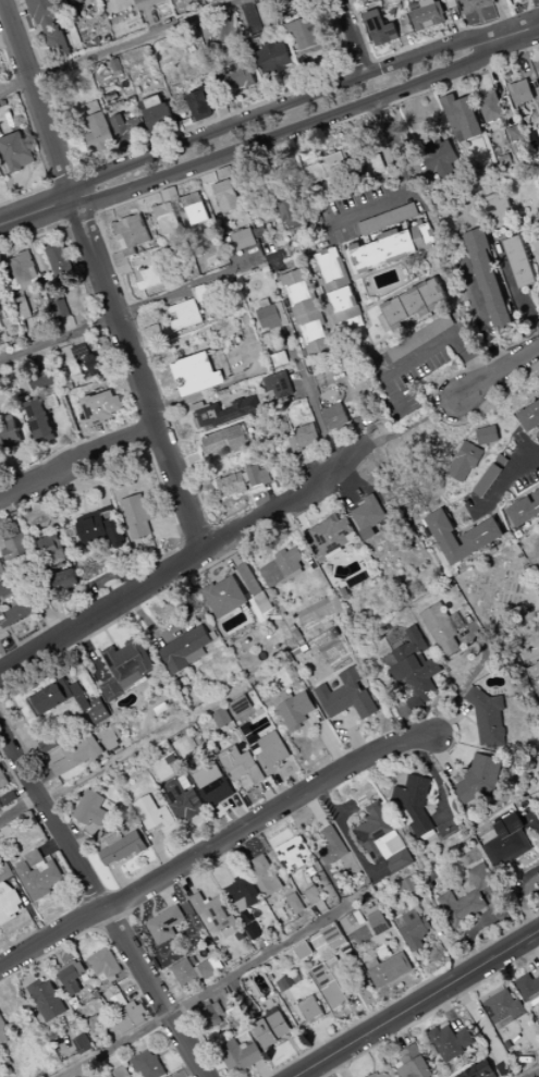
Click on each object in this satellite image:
road: (340, 0)
building: (495, 1)
building: (150, 3)
building: (476, 5)
building: (395, 9)
road: (17, 11)
road: (530, 13)
building: (430, 16)
road: (505, 16)
road: (252, 19)
road: (481, 19)
road: (154, 23)
building: (49, 24)
road: (355, 24)
road: (455, 26)
road: (226, 29)
building: (382, 29)
road: (457, 30)
road: (517, 32)
building: (305, 34)
road: (29, 35)
road: (352, 36)
road: (30, 39)
road: (7, 40)
building: (259, 41)
road: (127, 48)
road: (396, 52)
building: (273, 59)
building: (317, 59)
building: (117, 65)
road: (526, 66)
road: (512, 70)
building: (235, 72)
building: (538, 75)
road: (497, 81)
road: (283, 84)
road: (456, 84)
road: (480, 84)
building: (520, 93)
road: (36, 98)
road: (247, 98)
building: (154, 102)
building: (203, 103)
road: (279, 106)
building: (491, 107)
building: (538, 107)
building: (94, 108)
road: (250, 108)
building: (463, 117)
building: (158, 118)
road: (405, 122)
building: (121, 125)
building: (136, 127)
road: (388, 127)
building: (100, 132)
road: (290, 132)
building: (516, 133)
road: (161, 142)
road: (270, 148)
building: (16, 151)
building: (439, 158)
road: (44, 161)
road: (387, 161)
building: (331, 162)
building: (372, 167)
building: (226, 173)
road: (179, 189)
building: (171, 195)
road: (162, 196)
building: (229, 196)
building: (193, 199)
road: (382, 205)
road: (56, 206)
building: (164, 209)
building: (497, 209)
road: (36, 211)
road: (117, 213)
building: (198, 213)
building: (294, 213)
road: (96, 215)
road: (78, 220)
building: (388, 220)
road: (41, 222)
building: (170, 223)
road: (14, 232)
building: (261, 232)
building: (133, 233)
road: (30, 237)
building: (244, 238)
road: (48, 240)
building: (233, 241)
road: (120, 246)
road: (20, 247)
building: (51, 247)
building: (384, 250)
building: (535, 253)
building: (522, 260)
building: (61, 261)
building: (122, 262)
road: (430, 265)
building: (24, 267)
building: (330, 270)
building: (140, 276)
building: (150, 278)
building: (489, 278)
building: (35, 282)
building: (0, 285)
building: (13, 285)
building: (26, 285)
road: (514, 285)
building: (0, 287)
building: (200, 293)
building: (433, 293)
building: (1, 295)
building: (416, 303)
building: (343, 305)
road: (142, 306)
building: (23, 308)
building: (62, 309)
building: (307, 311)
road: (483, 311)
building: (186, 315)
building: (269, 316)
building: (394, 316)
road: (150, 326)
building: (0, 327)
road: (519, 332)
building: (421, 338)
road: (345, 341)
road: (3, 351)
road: (426, 352)
road: (376, 353)
building: (91, 360)
road: (497, 371)
road: (137, 374)
building: (199, 375)
building: (46, 380)
road: (230, 382)
building: (280, 384)
road: (310, 399)
building: (102, 407)
road: (437, 412)
building: (226, 413)
road: (182, 415)
building: (336, 417)
building: (529, 417)
building: (40, 419)
road: (171, 424)
building: (359, 424)
road: (414, 424)
building: (283, 425)
building: (9, 430)
building: (307, 435)
building: (538, 435)
road: (102, 436)
building: (488, 436)
road: (68, 438)
building: (229, 441)
road: (198, 445)
building: (296, 445)
road: (50, 456)
road: (76, 456)
road: (12, 458)
building: (502, 461)
building: (464, 462)
road: (187, 465)
road: (308, 469)
building: (258, 476)
building: (485, 480)
road: (502, 481)
road: (84, 485)
building: (232, 485)
road: (350, 486)
road: (1, 488)
road: (84, 499)
road: (267, 501)
road: (322, 501)
road: (5, 506)
building: (524, 511)
building: (369, 513)
building: (137, 516)
road: (298, 516)
road: (51, 517)
road: (71, 522)
building: (94, 527)
road: (172, 530)
road: (0, 531)
building: (333, 534)
building: (368, 534)
building: (463, 537)
building: (314, 546)
building: (17, 547)
building: (51, 548)
road: (177, 548)
road: (160, 552)
building: (280, 553)
building: (335, 553)
road: (532, 553)
road: (185, 560)
road: (233, 565)
road: (8, 566)
building: (282, 567)
building: (1, 568)
building: (2, 575)
building: (293, 576)
road: (103, 579)
building: (250, 579)
building: (357, 580)
building: (63, 583)
building: (11, 586)
building: (345, 593)
building: (225, 597)
building: (264, 603)
building: (1, 610)
building: (20, 613)
road: (62, 615)
building: (3, 619)
road: (51, 620)
building: (456, 621)
road: (105, 627)
road: (150, 627)
building: (293, 628)
building: (441, 628)
building: (400, 629)
building: (297, 635)
road: (108, 636)
building: (302, 641)
building: (411, 646)
road: (430, 648)
building: (184, 649)
road: (90, 652)
building: (196, 656)
road: (422, 658)
building: (130, 661)
building: (389, 661)
road: (1, 669)
building: (417, 676)
road: (470, 676)
building: (534, 677)
building: (123, 687)
building: (77, 690)
building: (285, 696)
building: (346, 696)
building: (51, 697)
building: (84, 703)
building: (240, 706)
road: (78, 709)
building: (161, 709)
building: (296, 710)
building: (99, 712)
building: (222, 718)
road: (40, 719)
building: (489, 719)
road: (60, 720)
road: (400, 720)
building: (120, 727)
road: (145, 729)
building: (258, 731)
road: (58, 733)
building: (112, 737)
road: (353, 738)
road: (327, 739)
building: (48, 743)
road: (145, 743)
road: (32, 746)
road: (21, 747)
building: (216, 749)
road: (193, 752)
building: (208, 752)
building: (272, 752)
building: (78, 755)
building: (241, 764)
road: (199, 770)
building: (213, 771)
road: (15, 776)
building: (182, 776)
road: (42, 778)
building: (3, 779)
building: (480, 780)
road: (281, 786)
building: (217, 791)
road: (268, 795)
building: (10, 798)
building: (415, 801)
building: (185, 804)
building: (1, 806)
road: (20, 808)
building: (91, 808)
road: (238, 811)
building: (154, 812)
road: (210, 828)
building: (171, 829)
building: (94, 830)
road: (158, 836)
building: (113, 837)
building: (382, 840)
building: (506, 843)
road: (82, 844)
road: (215, 844)
road: (53, 845)
building: (128, 846)
building: (331, 847)
road: (159, 852)
building: (292, 855)
building: (108, 856)
building: (35, 857)
building: (48, 859)
building: (346, 862)
building: (41, 864)
building: (265, 876)
building: (479, 878)
building: (40, 879)
road: (122, 879)
building: (407, 889)
building: (242, 894)
building: (8, 896)
road: (66, 901)
road: (102, 904)
building: (295, 904)
building: (461, 907)
road: (29, 908)
building: (213, 911)
building: (377, 923)
building: (164, 925)
building: (413, 929)
building: (253, 931)
building: (333, 937)
building: (303, 951)
building: (103, 965)
building: (388, 969)
building: (194, 971)
building: (70, 977)
building: (331, 984)
building: (529, 990)
road: (201, 993)
building: (47, 1000)
road: (417, 1003)
building: (309, 1009)
building: (503, 1009)
building: (127, 1013)
building: (212, 1016)
building: (270, 1028)
building: (3, 1033)
building: (451, 1042)
building: (82, 1044)
building: (240, 1055)
building: (412, 1063)
building: (147, 1065)
building: (478, 1072)
building: (121, 1073)
building: (382, 1074)
road: (534, 1074)

